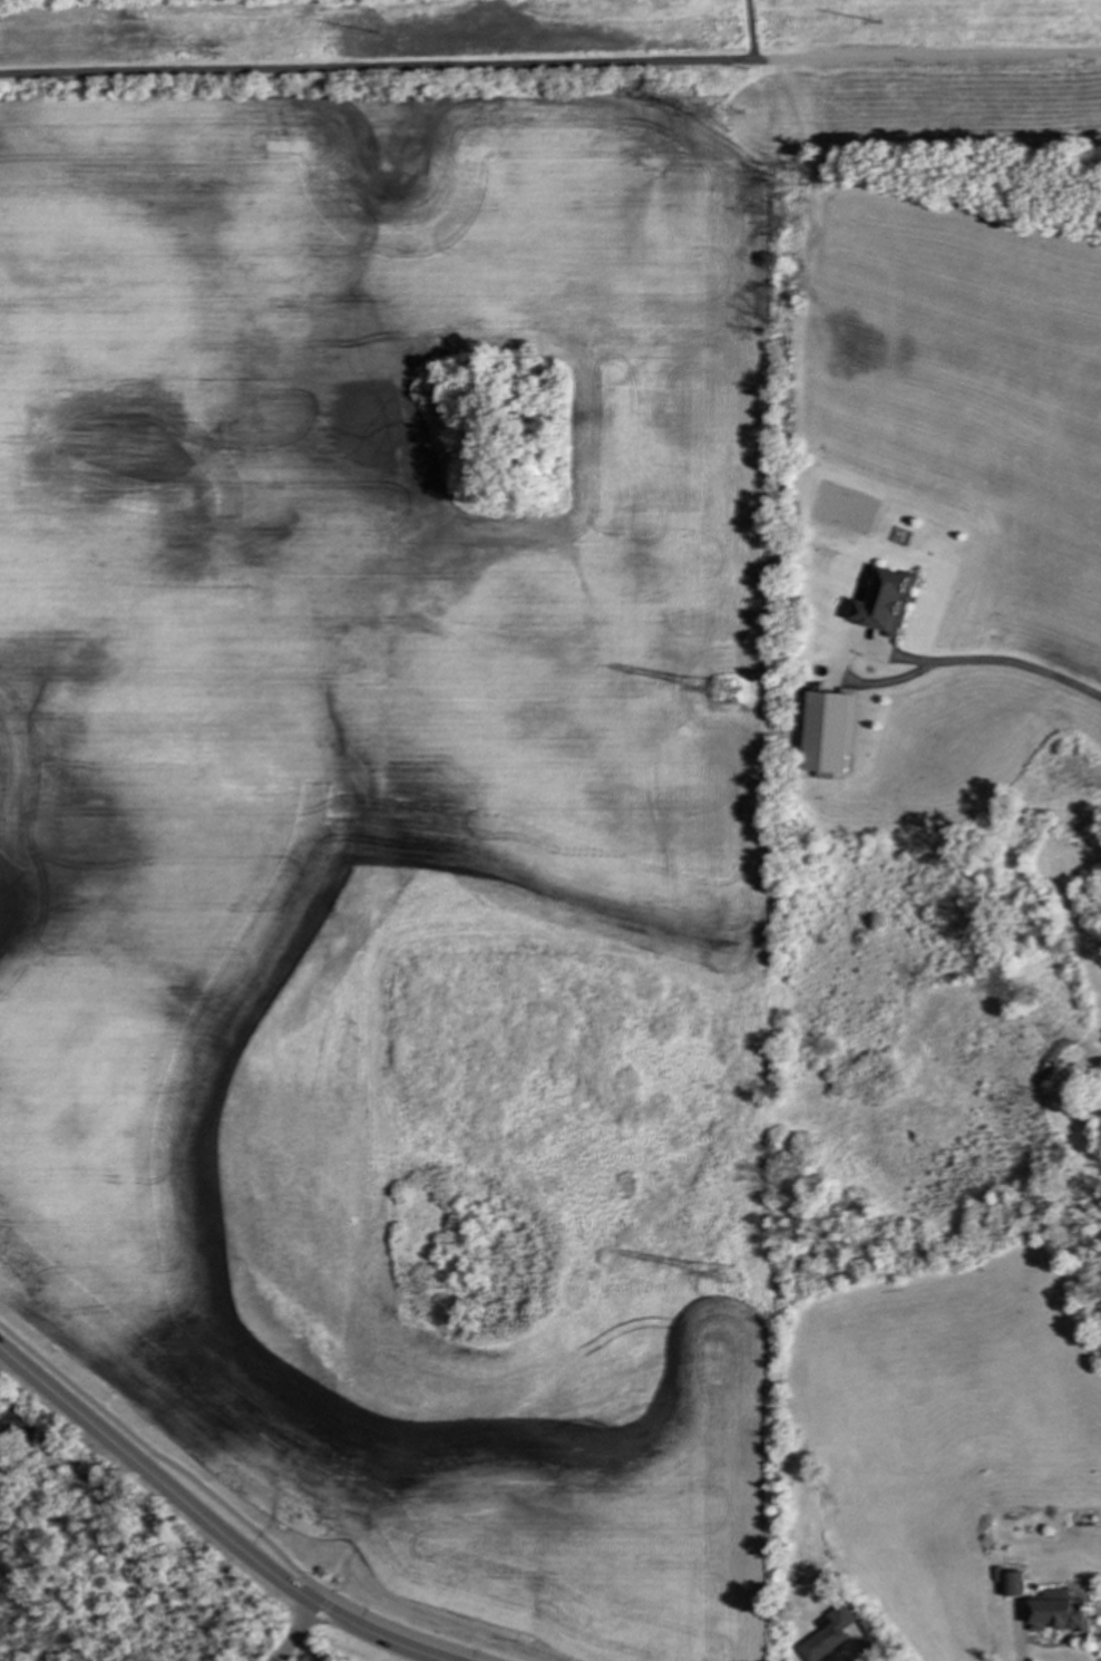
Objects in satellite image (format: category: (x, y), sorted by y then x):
park: (316, 3)
power tower: (865, 25)
road: (749, 30)
power tower: (363, 36)
road: (925, 57)
road: (374, 68)
power tower: (729, 116)
crop: (976, 468)
building: (884, 601)
road: (839, 666)
road: (1016, 667)
power tower: (727, 690)
building: (830, 730)
crop: (369, 734)
power tower: (728, 1278)
road: (203, 1511)
road: (234, 1516)
building: (1013, 1584)
building: (1059, 1612)
road: (293, 1630)
building: (829, 1634)
road: (1017, 1650)

